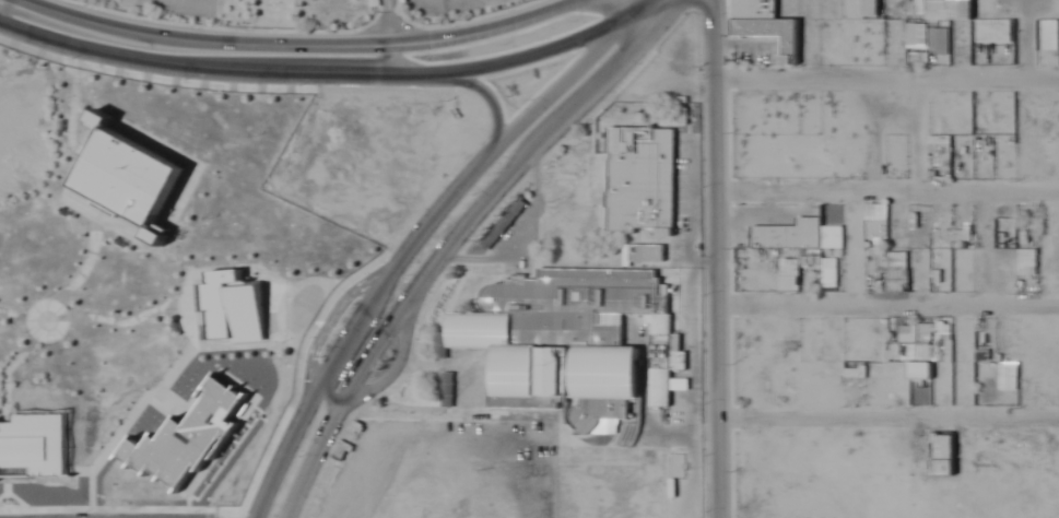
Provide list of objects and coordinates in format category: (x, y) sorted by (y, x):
park: (294, 14)

